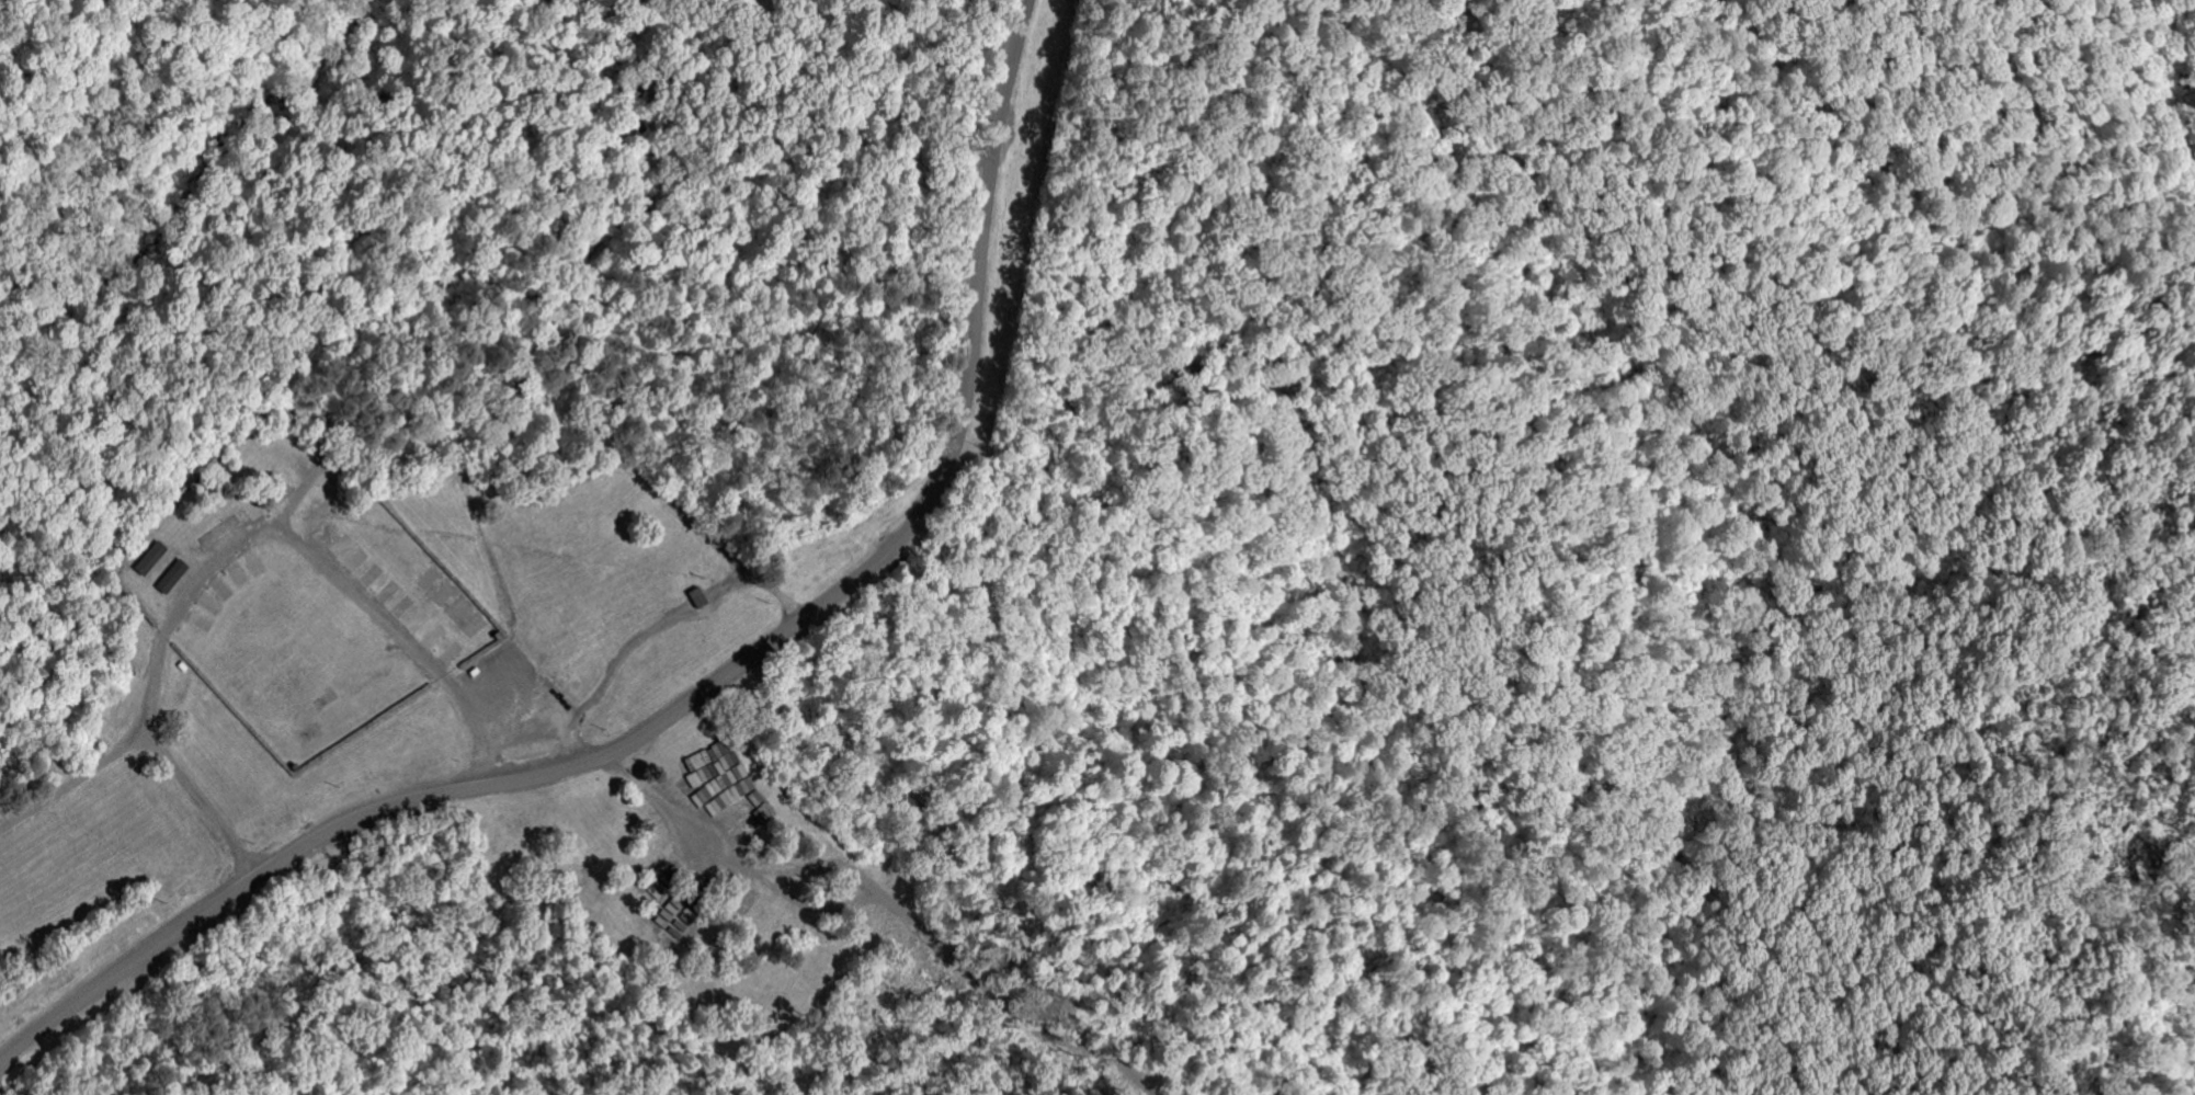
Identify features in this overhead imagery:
road: (231, 549)
road: (674, 621)
road: (704, 689)
road: (543, 720)
road: (201, 802)
road: (866, 903)

